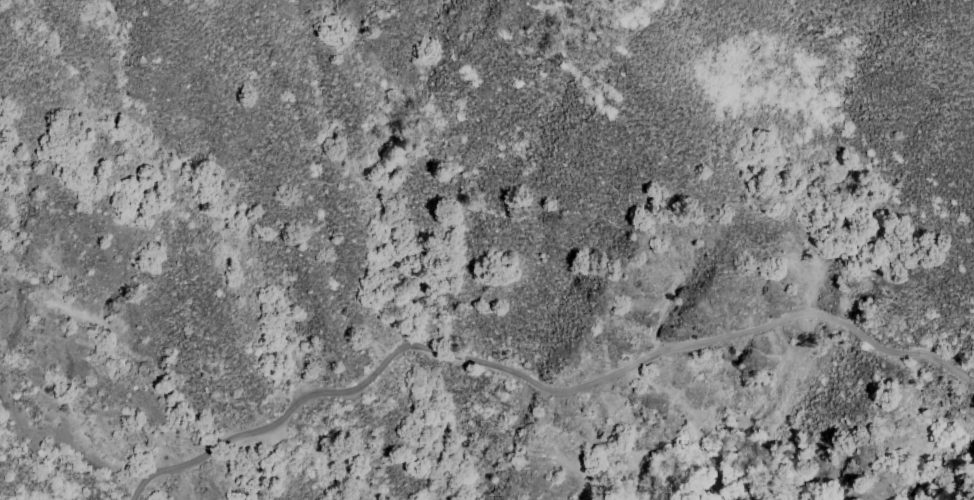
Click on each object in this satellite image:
park: (450, 360)
road: (539, 384)

